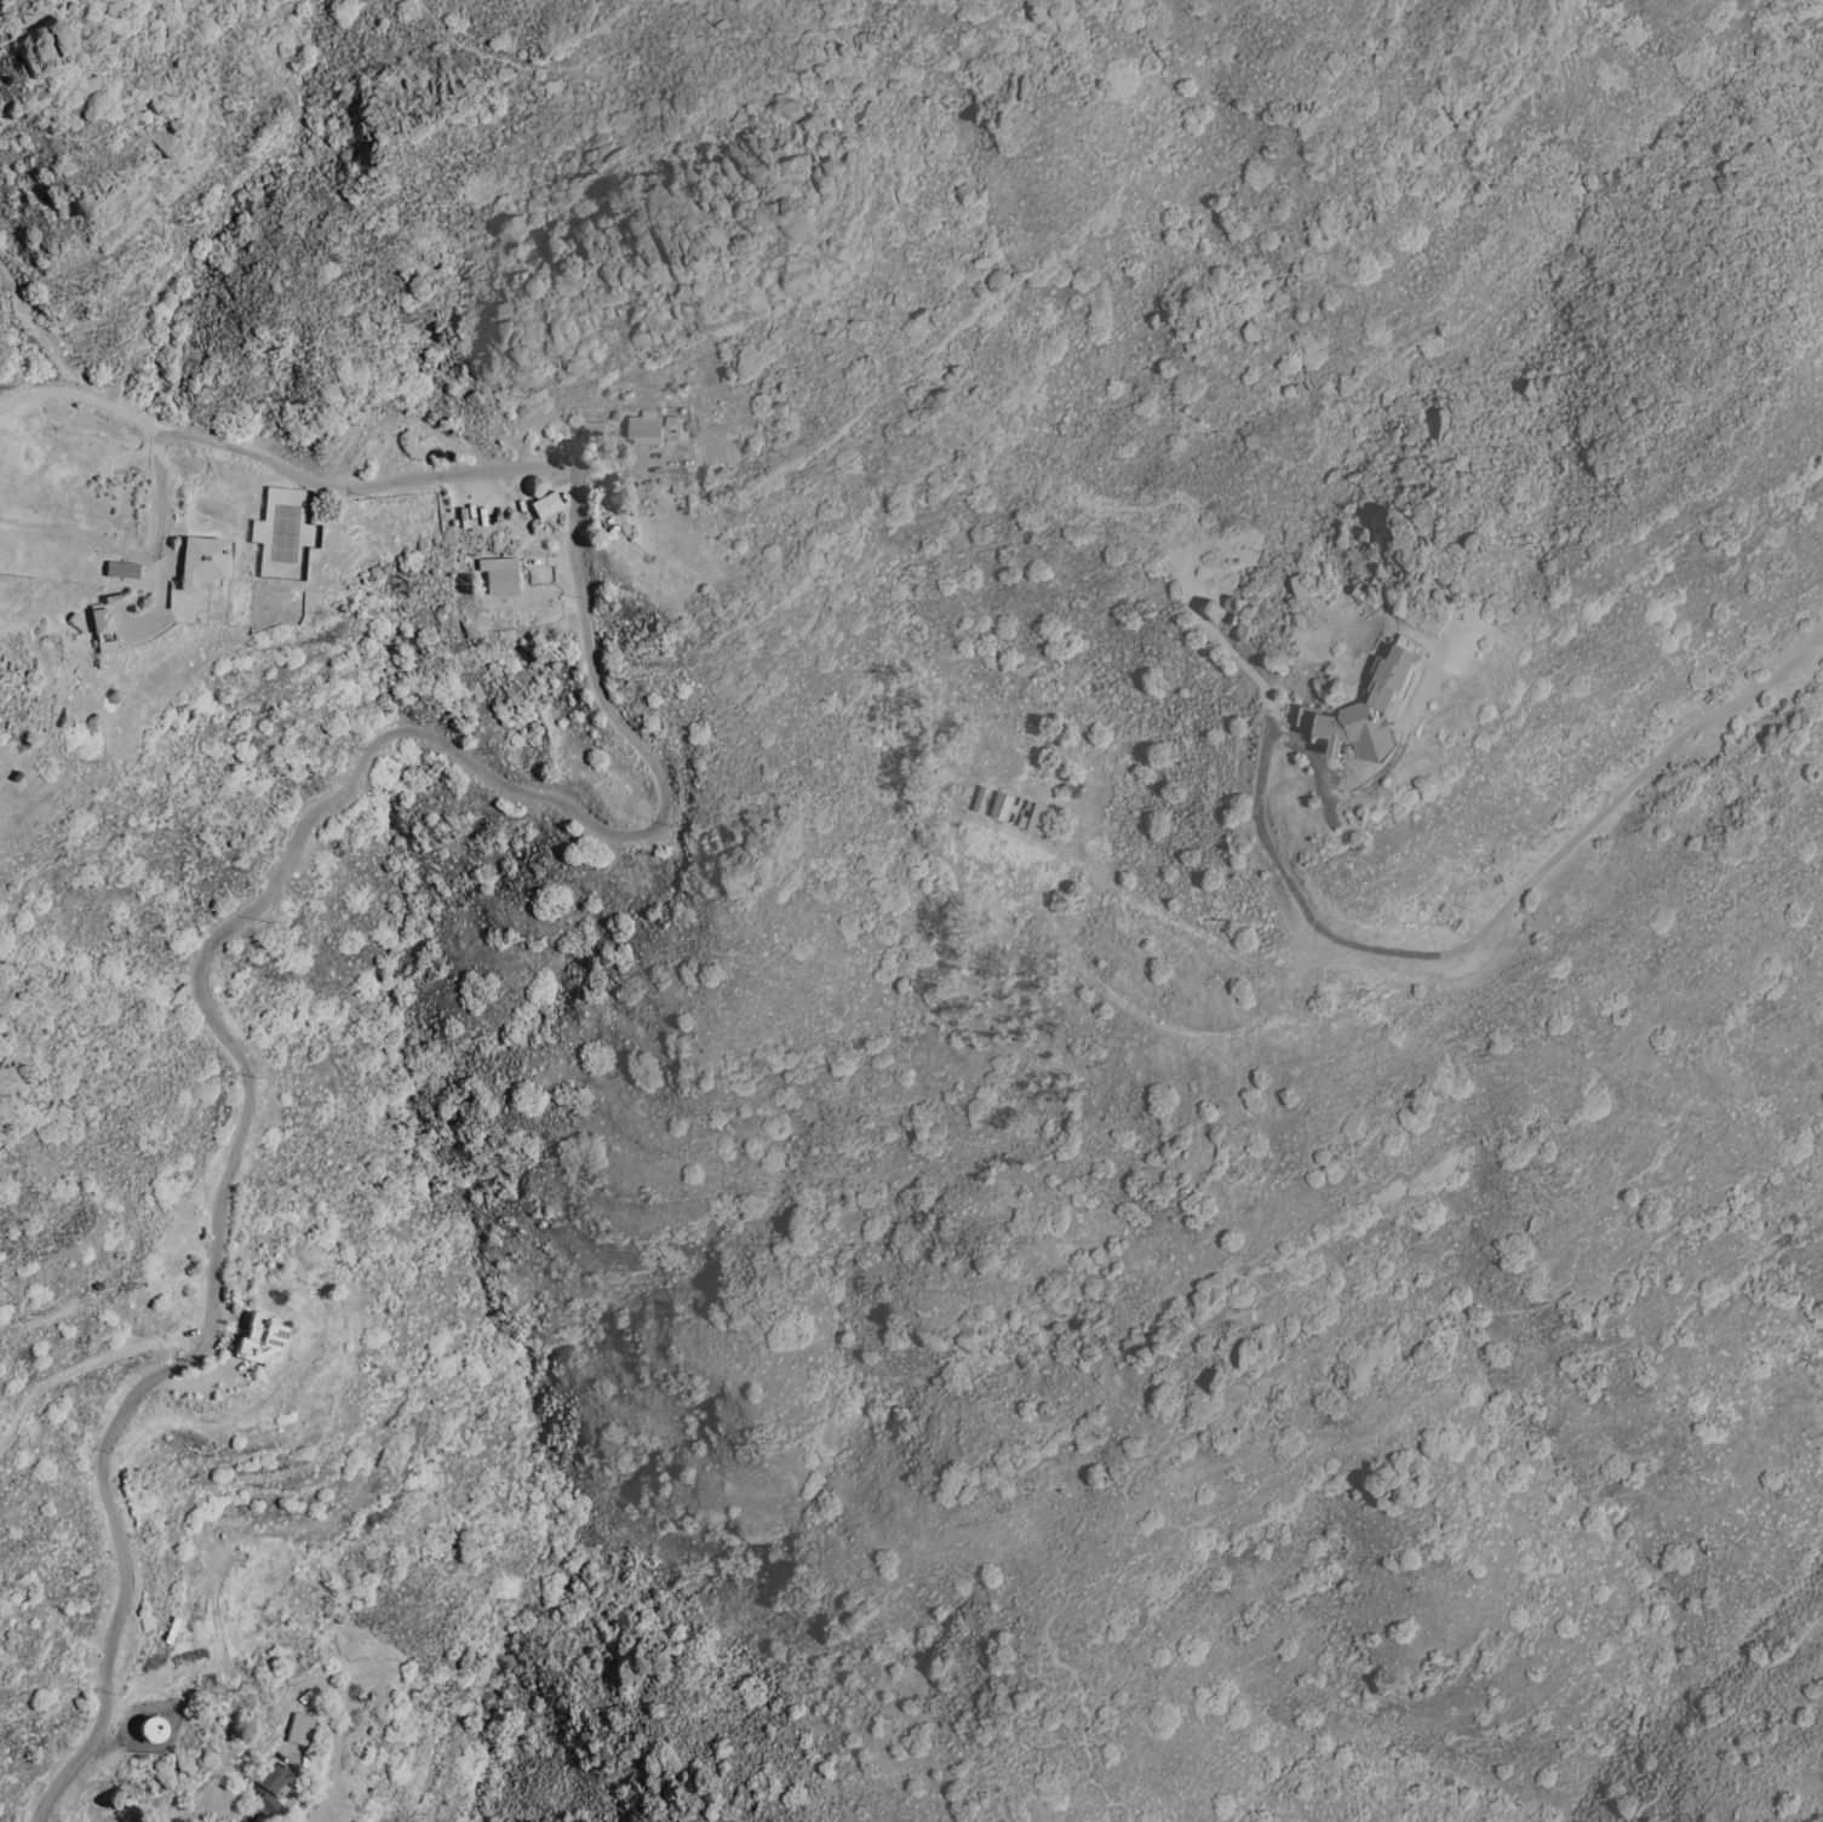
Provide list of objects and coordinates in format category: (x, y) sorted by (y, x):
road: (1811, 39)
building: (782, 107)
building: (506, 225)
building: (643, 428)
building: (590, 432)
building: (545, 503)
road: (137, 554)
building: (200, 558)
building: (121, 568)
building: (498, 573)
building: (115, 597)
building: (102, 628)
road: (1781, 671)
park: (1793, 678)
building: (1360, 716)
road: (396, 730)
road: (1392, 758)
building: (1034, 817)
park: (1710, 840)
road: (1400, 953)
building: (258, 1335)
road: (85, 1358)
park: (1742, 1461)
park: (1157, 1480)
building: (150, 1728)
building: (299, 1728)
park: (1729, 1748)
building: (268, 1789)

